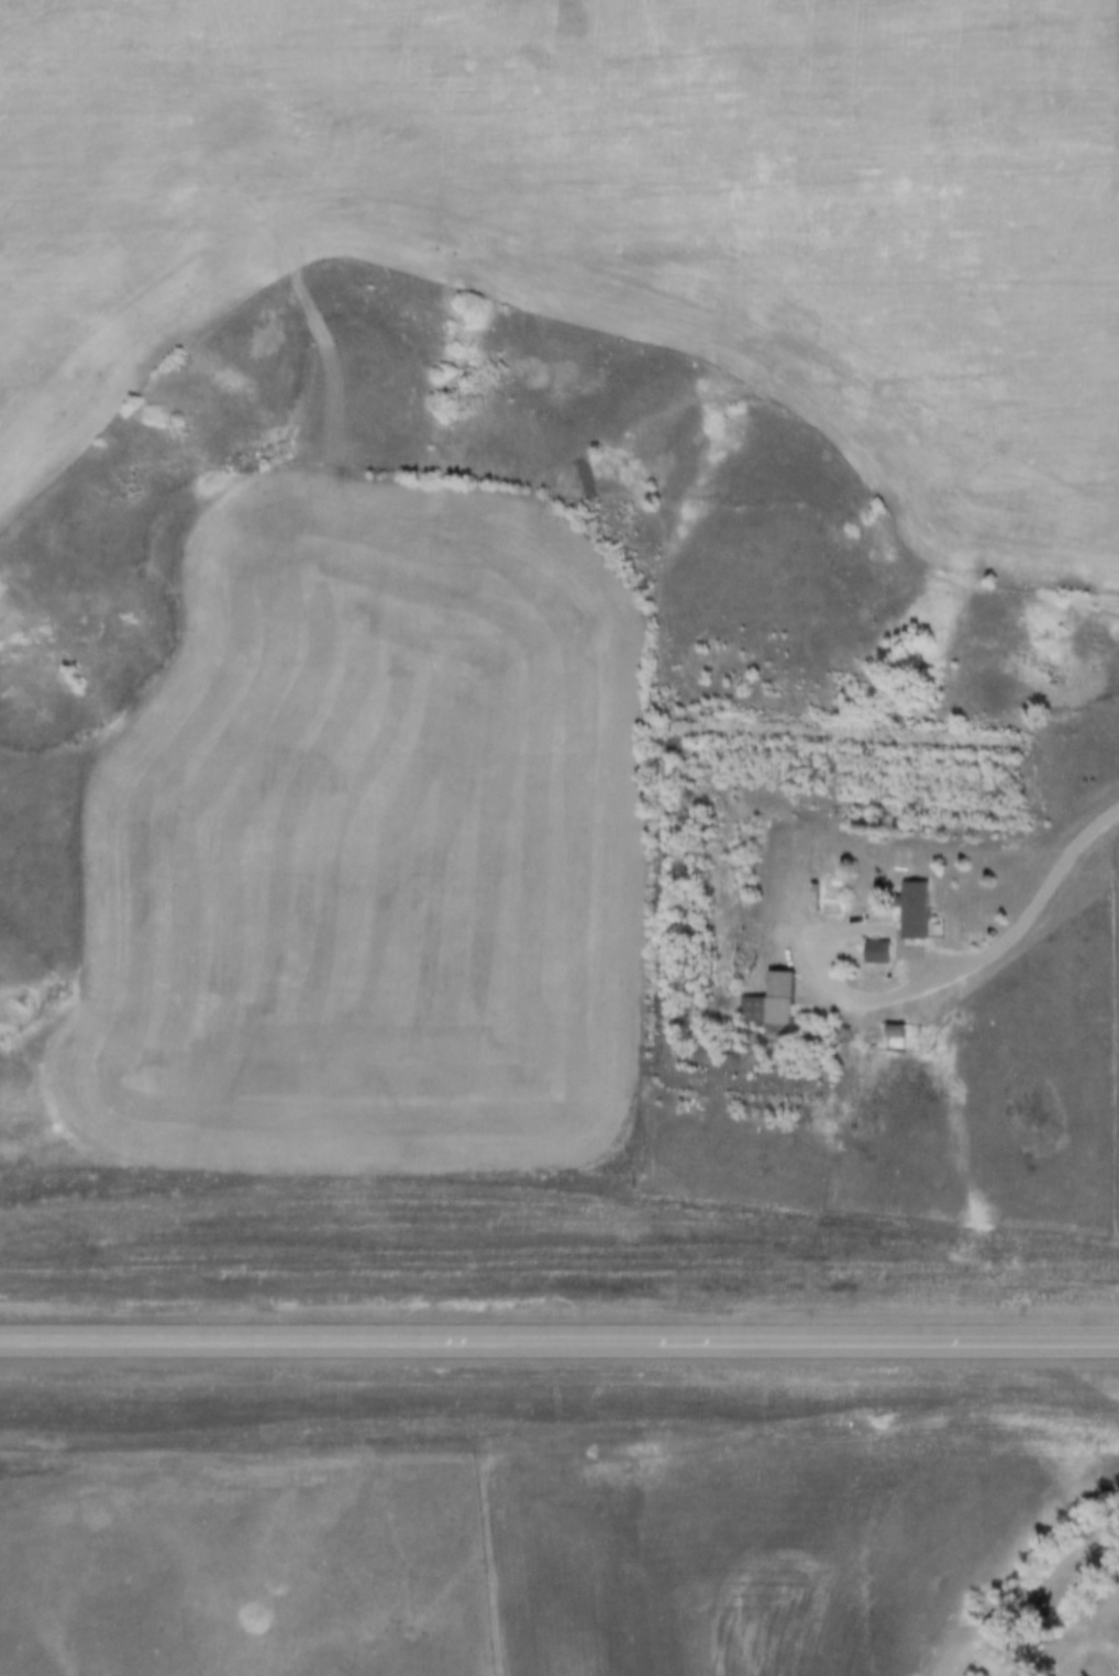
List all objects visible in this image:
road: (1040, 902)
building: (920, 911)
building: (880, 952)
road: (824, 966)
building: (774, 1001)
road: (223, 1344)
road: (549, 1345)
road: (885, 1345)

